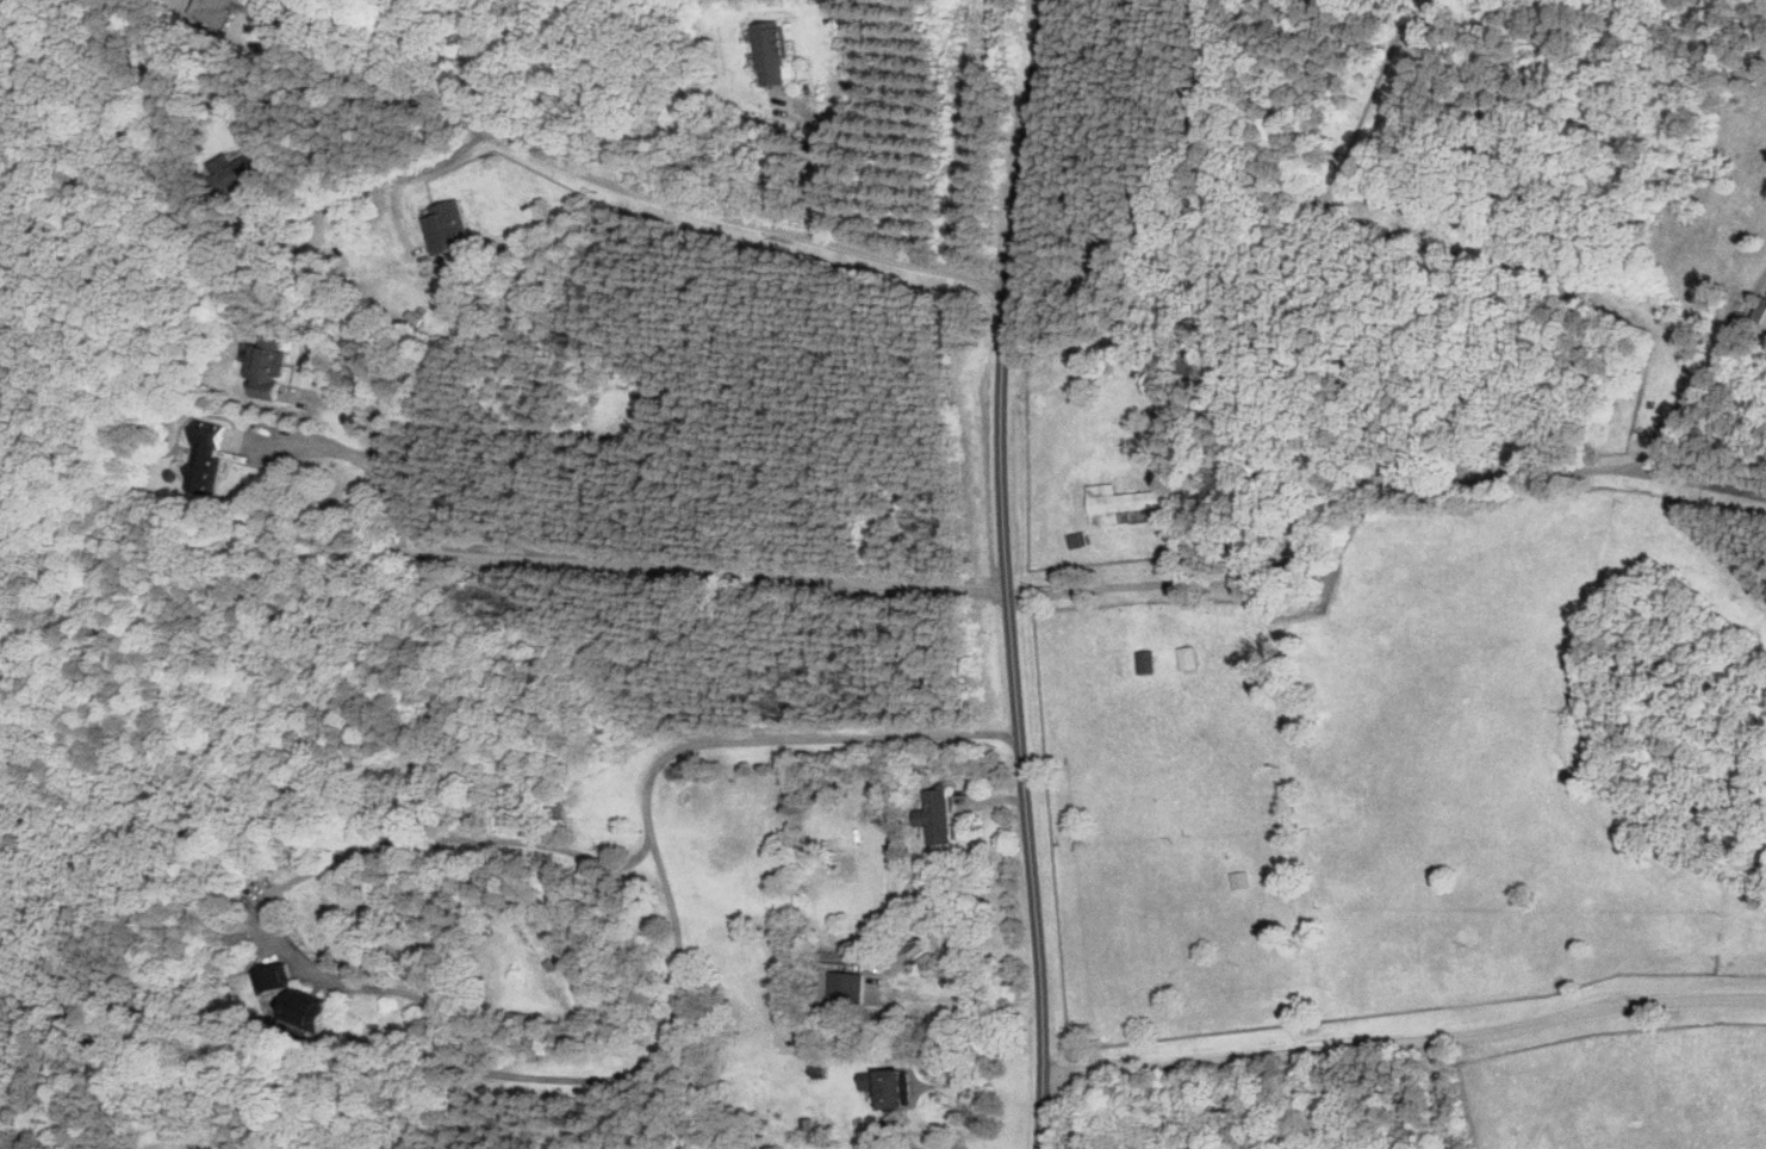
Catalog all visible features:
building: (217, 11)
building: (778, 54)
road: (826, 160)
road: (428, 167)
building: (247, 168)
road: (615, 185)
building: (450, 228)
building: (1758, 311)
building: (274, 368)
building: (211, 458)
road: (1697, 482)
road: (1422, 486)
building: (1115, 502)
road: (620, 571)
road: (1007, 573)
building: (1184, 657)
building: (1143, 662)
building: (943, 818)
building: (842, 865)
building: (1236, 880)
building: (851, 989)
building: (294, 996)
road: (1407, 1043)
road: (549, 1079)
building: (894, 1089)
road: (900, 1120)
road: (951, 1145)
road: (939, 1147)

